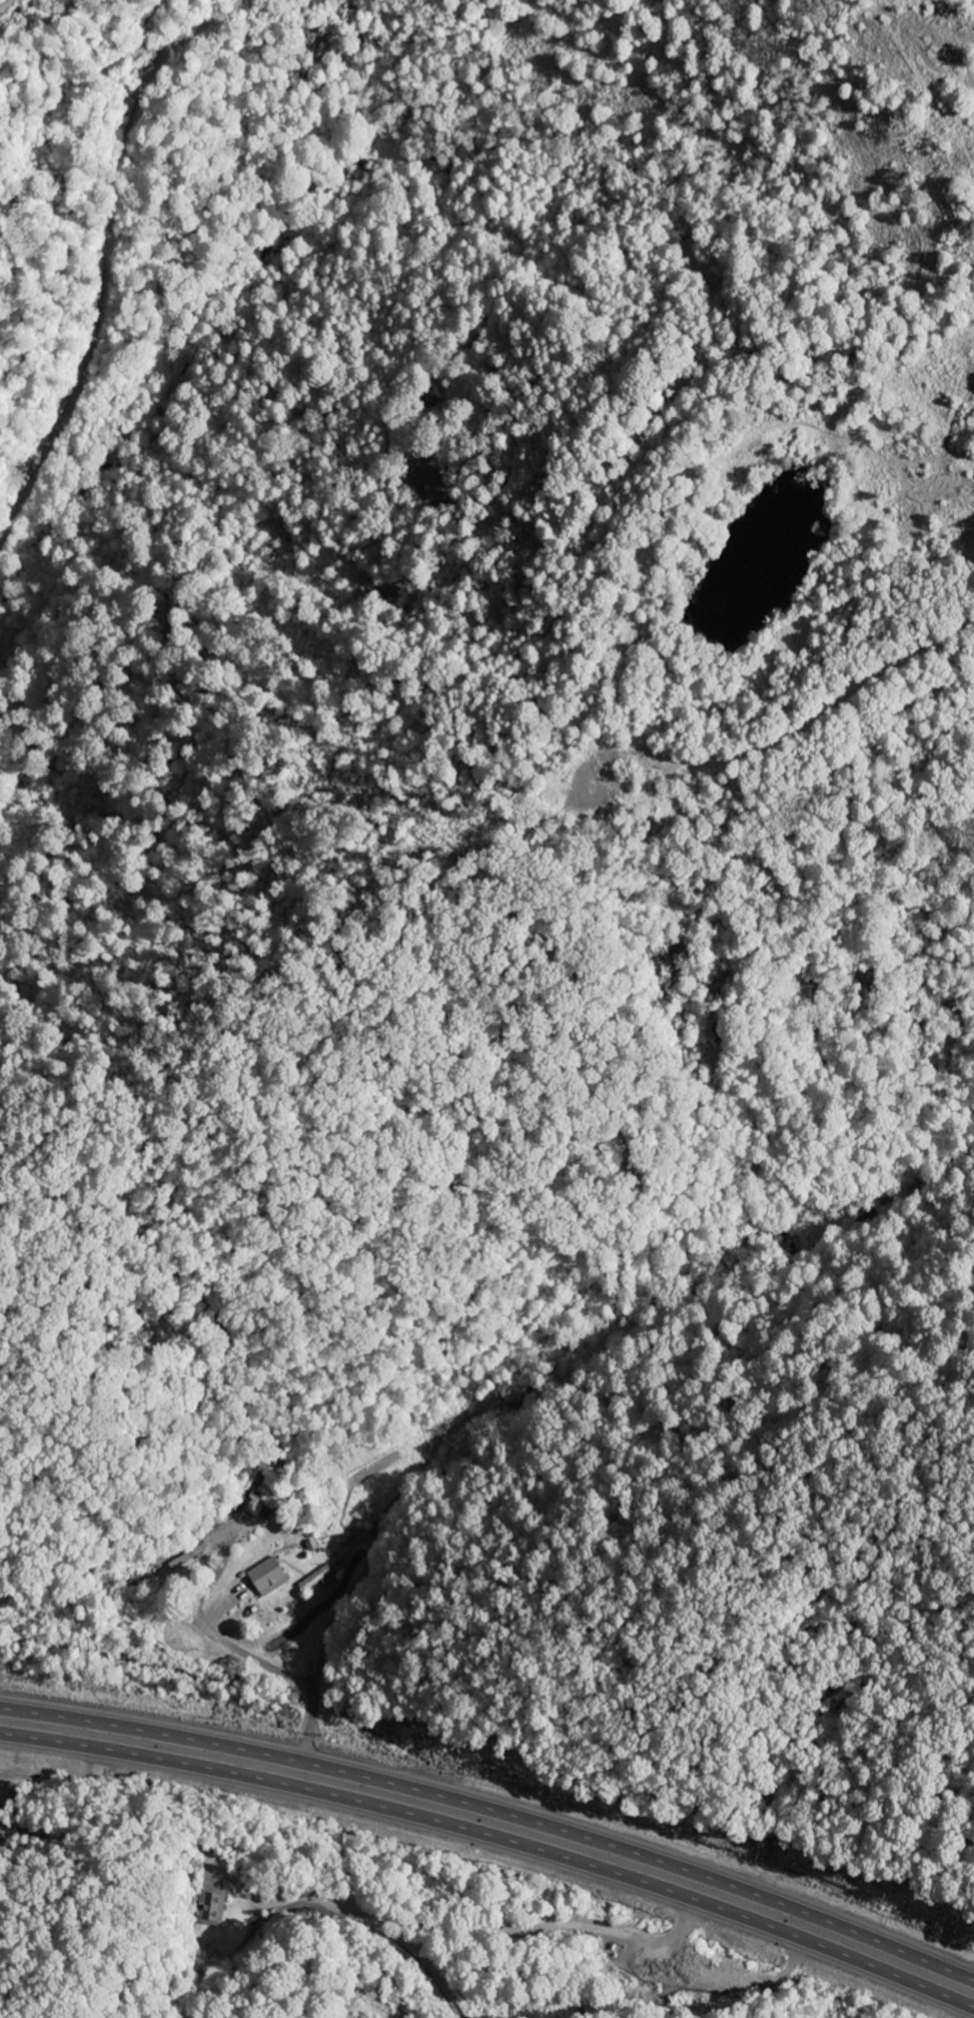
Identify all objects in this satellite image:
building: (267, 1577)
building: (317, 1579)
road: (168, 1596)
road: (267, 1666)
road: (495, 1811)
road: (496, 1838)
building: (213, 1907)
road: (469, 1929)

